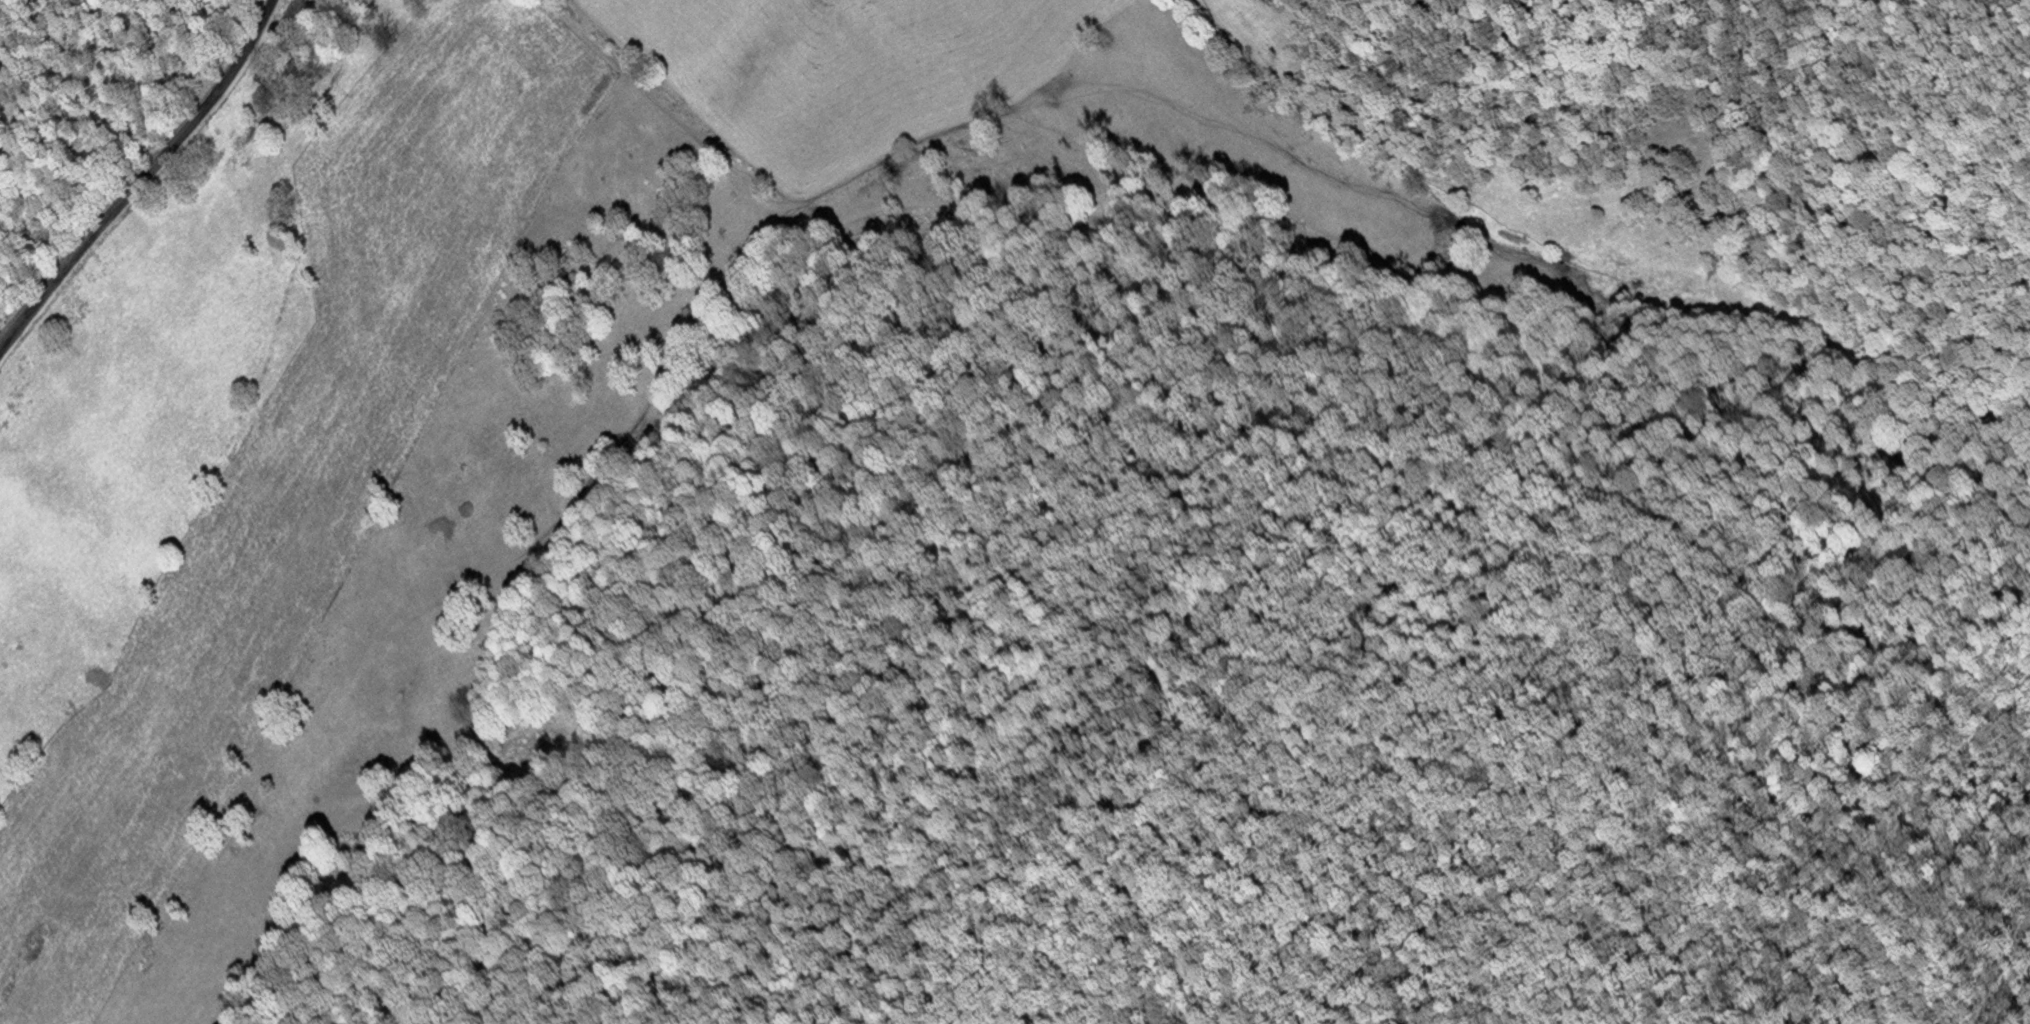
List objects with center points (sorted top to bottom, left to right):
road: (146, 187)

